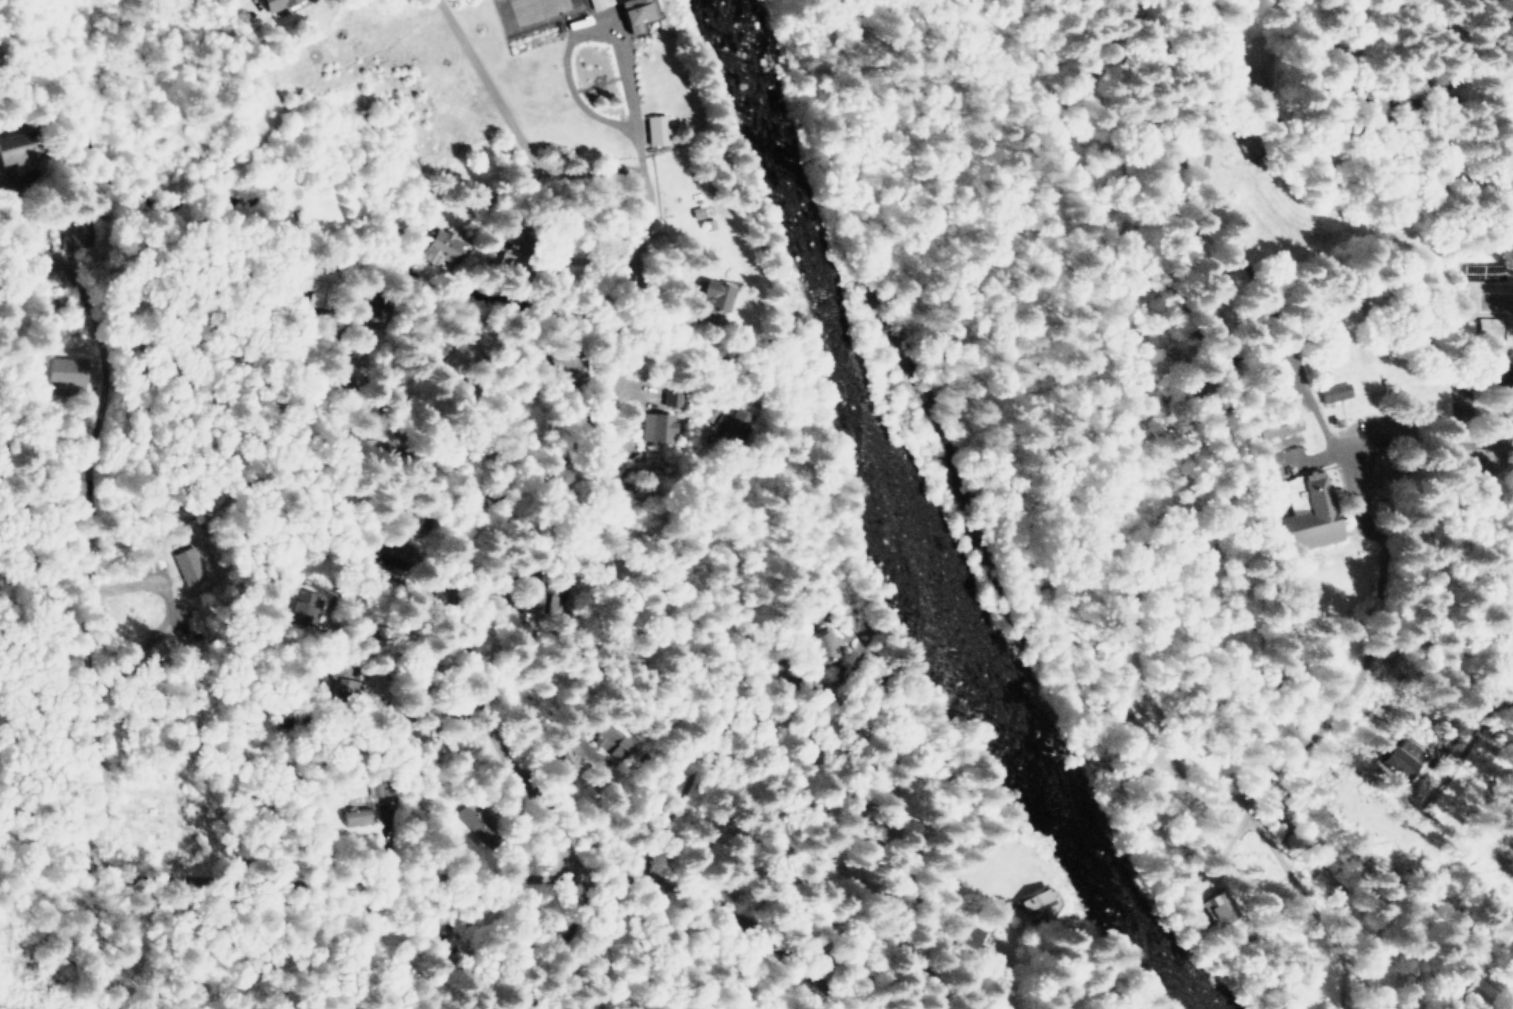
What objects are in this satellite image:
building: (278, 4)
building: (638, 13)
road: (563, 52)
road: (516, 129)
building: (658, 130)
building: (18, 147)
building: (1245, 148)
building: (76, 235)
building: (444, 247)
road: (646, 256)
building: (1479, 263)
building: (322, 285)
building: (716, 295)
building: (380, 305)
building: (1482, 324)
road: (574, 346)
building: (470, 353)
building: (579, 367)
building: (71, 375)
building: (1504, 375)
building: (1326, 390)
building: (675, 396)
building: (732, 422)
building: (1275, 424)
building: (662, 427)
building: (1301, 511)
road: (525, 525)
river: (914, 528)
building: (402, 554)
building: (203, 566)
building: (555, 602)
building: (317, 607)
road: (561, 630)
building: (820, 648)
road: (1365, 674)
building: (353, 678)
road: (710, 729)
building: (617, 742)
building: (1398, 755)
road: (253, 771)
building: (368, 816)
building: (487, 825)
building: (1033, 899)
building: (1218, 907)
road: (916, 943)
building: (1461, 983)
building: (1125, 1008)

